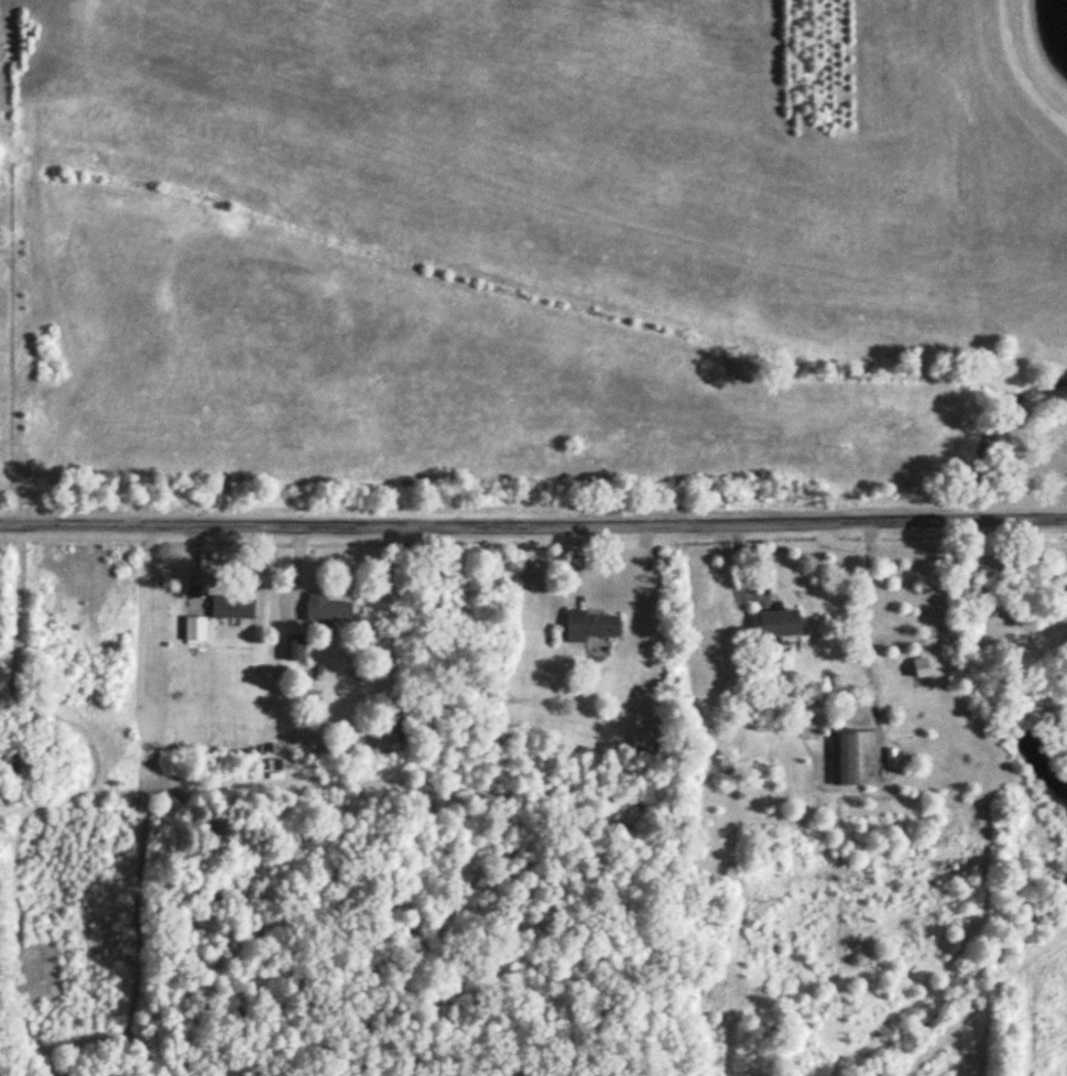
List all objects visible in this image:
road: (1015, 72)
road: (533, 524)
building: (231, 608)
building: (325, 610)
building: (776, 623)
building: (590, 627)
building: (194, 629)
road: (867, 646)
building: (295, 648)
building: (1059, 717)
building: (644, 742)
building: (846, 758)

